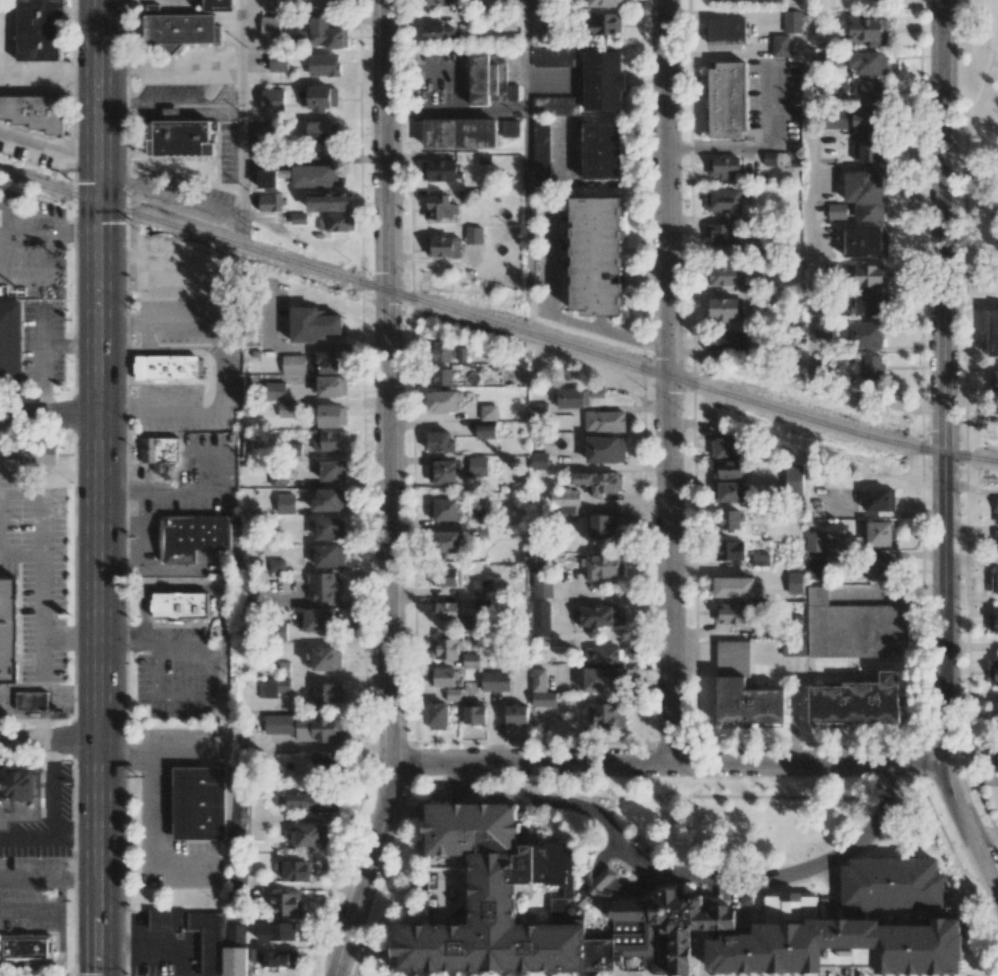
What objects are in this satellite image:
building: (446, 2)
building: (605, 2)
building: (219, 5)
building: (732, 5)
building: (792, 21)
building: (603, 24)
building: (269, 25)
building: (41, 29)
building: (182, 29)
building: (726, 29)
building: (869, 29)
building: (437, 31)
building: (326, 33)
building: (780, 44)
road: (525, 56)
building: (555, 56)
building: (278, 62)
building: (869, 62)
road: (995, 62)
road: (997, 62)
building: (324, 64)
road: (49, 70)
building: (483, 81)
building: (606, 82)
building: (870, 91)
building: (272, 98)
building: (320, 98)
building: (725, 100)
building: (556, 105)
road: (242, 109)
road: (456, 112)
building: (35, 114)
building: (835, 118)
building: (866, 119)
park: (969, 124)
building: (510, 128)
building: (319, 132)
building: (463, 135)
building: (184, 141)
road: (49, 145)
road: (761, 148)
building: (869, 150)
building: (541, 151)
building: (605, 152)
building: (776, 158)
building: (724, 167)
building: (439, 170)
building: (312, 175)
building: (266, 178)
building: (865, 192)
road: (996, 194)
road: (170, 197)
building: (724, 200)
building: (331, 201)
building: (271, 202)
road: (527, 205)
building: (440, 206)
building: (837, 211)
building: (337, 222)
building: (474, 234)
building: (724, 234)
building: (865, 241)
building: (443, 246)
building: (596, 257)
building: (725, 275)
building: (868, 275)
road: (810, 282)
building: (867, 303)
road: (970, 303)
building: (724, 309)
road: (551, 314)
building: (312, 324)
railway: (497, 324)
building: (822, 330)
building: (992, 331)
building: (866, 334)
building: (10, 337)
building: (726, 340)
building: (441, 353)
building: (324, 362)
building: (293, 364)
building: (167, 367)
building: (871, 367)
building: (799, 371)
building: (441, 376)
building: (994, 378)
road: (667, 381)
building: (331, 385)
building: (275, 390)
building: (576, 396)
building: (443, 400)
building: (537, 410)
building: (488, 412)
road: (49, 414)
building: (327, 415)
road: (966, 417)
building: (604, 421)
building: (486, 430)
building: (326, 440)
building: (440, 441)
building: (725, 447)
building: (605, 449)
road: (944, 450)
building: (160, 452)
building: (38, 453)
building: (540, 461)
building: (478, 465)
building: (330, 469)
building: (727, 469)
building: (444, 471)
parking lot: (196, 478)
building: (278, 478)
building: (794, 480)
building: (600, 481)
road: (98, 487)
building: (728, 491)
road: (389, 492)
road: (189, 494)
building: (329, 499)
building: (879, 499)
road: (44, 501)
building: (286, 503)
building: (443, 509)
building: (996, 510)
building: (478, 516)
building: (730, 518)
building: (602, 526)
building: (329, 527)
building: (479, 533)
building: (880, 533)
building: (192, 536)
building: (816, 540)
building: (448, 541)
building: (995, 541)
building: (730, 550)
road: (22, 555)
building: (326, 555)
building: (760, 559)
building: (604, 566)
building: (816, 566)
building: (881, 568)
building: (444, 576)
building: (542, 581)
building: (795, 582)
building: (994, 583)
building: (322, 585)
building: (735, 587)
building: (182, 604)
building: (482, 604)
building: (446, 610)
building: (730, 613)
building: (600, 615)
building: (540, 618)
building: (318, 620)
building: (993, 622)
road: (43, 625)
building: (850, 629)
building: (9, 630)
building: (444, 648)
building: (603, 654)
building: (471, 660)
building: (993, 671)
building: (442, 676)
building: (538, 679)
building: (605, 679)
building: (495, 680)
building: (273, 687)
building: (742, 690)
building: (327, 693)
building: (453, 693)
building: (543, 698)
building: (32, 700)
building: (857, 702)
building: (474, 714)
building: (516, 714)
building: (437, 715)
building: (607, 716)
building: (997, 716)
building: (317, 727)
building: (245, 732)
road: (49, 741)
road: (186, 751)
road: (125, 752)
building: (325, 761)
building: (997, 761)
road: (668, 762)
road: (423, 779)
road: (972, 780)
road: (52, 785)
road: (566, 792)
building: (18, 794)
road: (687, 796)
road: (807, 796)
building: (313, 801)
road: (434, 801)
building: (201, 802)
building: (241, 817)
road: (76, 829)
building: (309, 834)
road: (411, 836)
road: (31, 838)
road: (691, 838)
road: (988, 843)
road: (151, 844)
road: (603, 853)
road: (954, 854)
building: (294, 869)
road: (49, 874)
road: (685, 874)
road: (385, 877)
road: (603, 877)
building: (893, 879)
building: (596, 884)
building: (236, 886)
building: (470, 886)
road: (404, 888)
road: (636, 888)
road: (60, 893)
building: (746, 898)
building: (286, 903)
road: (30, 910)
building: (167, 919)
building: (276, 931)
building: (235, 933)
building: (209, 939)
building: (838, 939)
road: (154, 945)
building: (26, 948)
building: (275, 957)
building: (234, 961)
road: (57, 965)
road: (981, 975)

